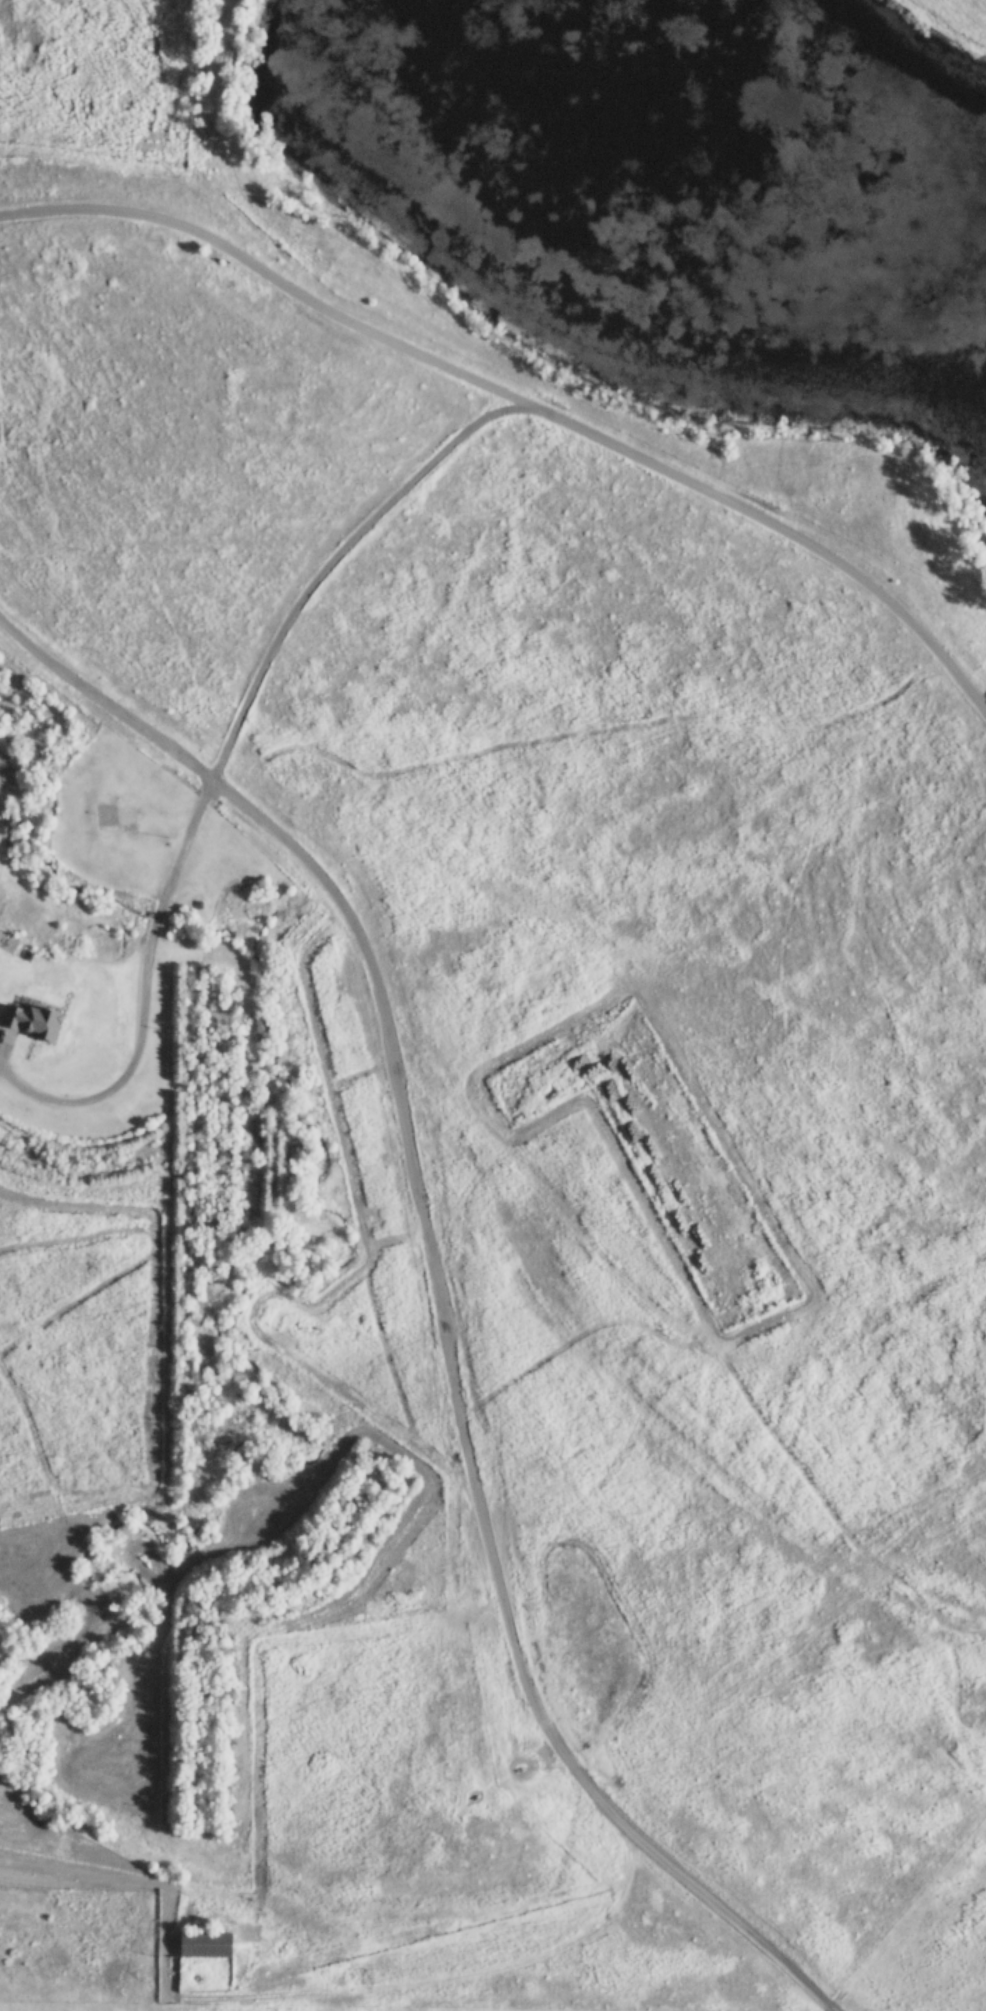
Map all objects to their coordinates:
road: (521, 399)
building: (26, 1022)
building: (202, 1946)

